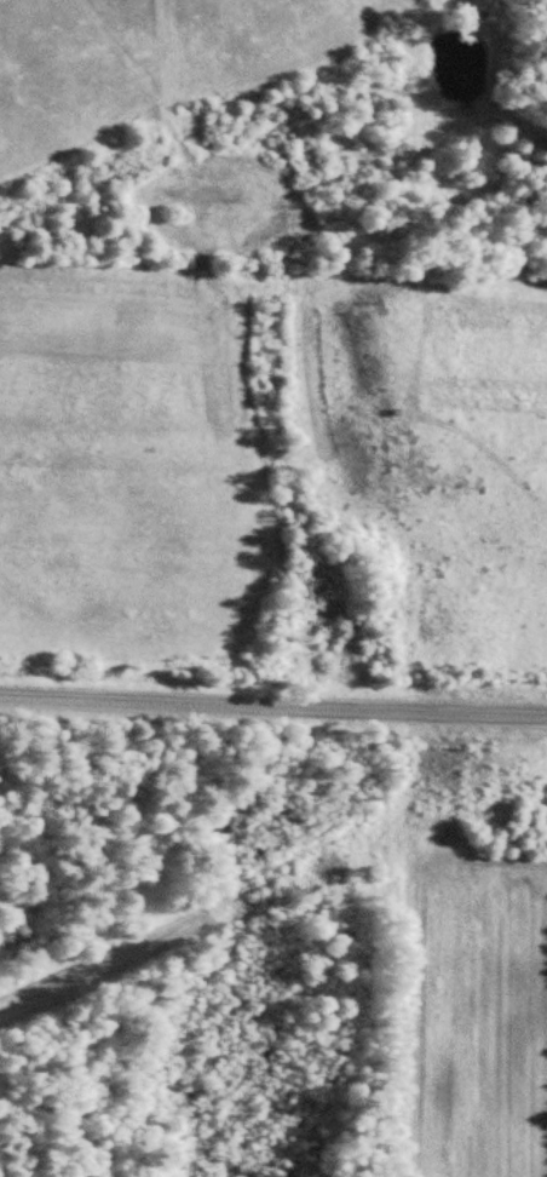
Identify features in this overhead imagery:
road: (273, 704)

